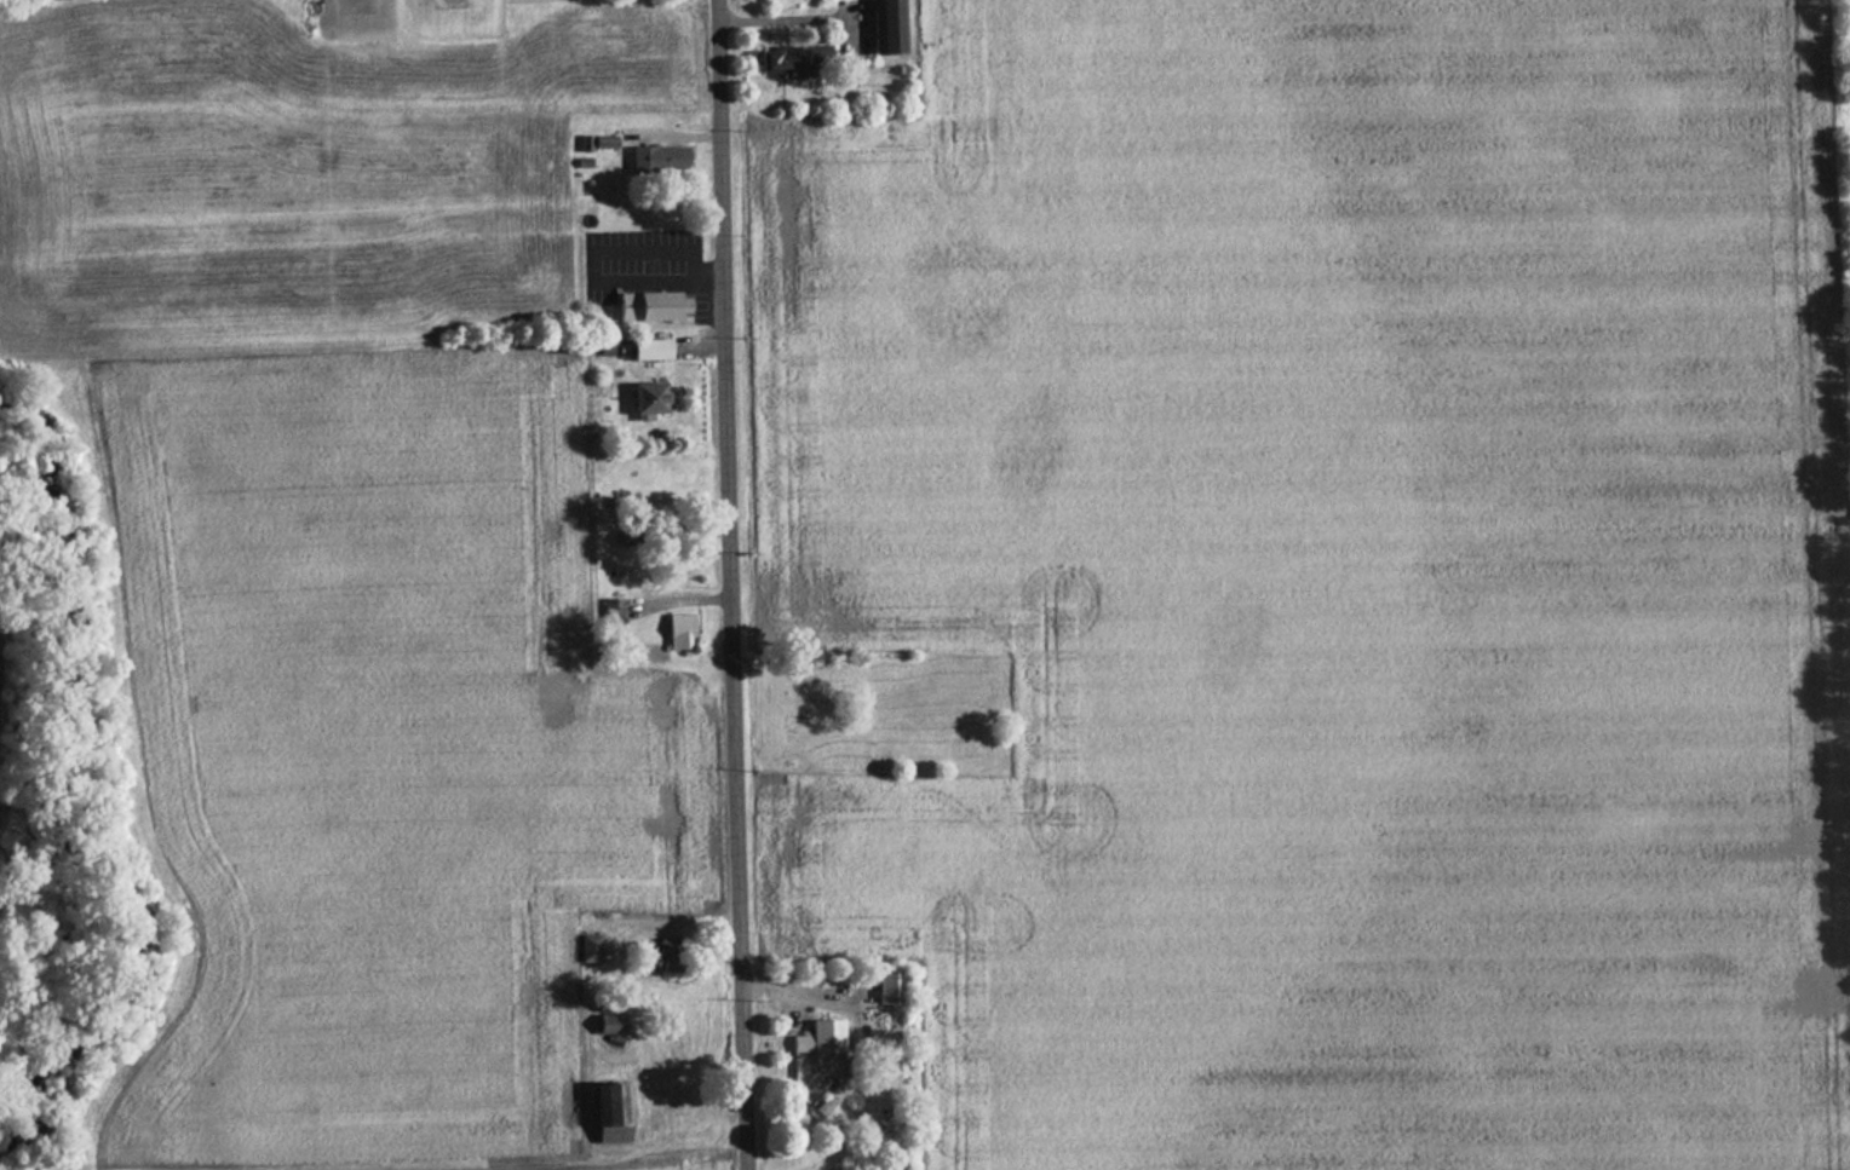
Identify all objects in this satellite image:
building: (886, 28)
building: (776, 65)
building: (654, 157)
crop: (260, 192)
building: (644, 305)
building: (647, 348)
building: (642, 398)
crop: (1333, 582)
road: (734, 584)
building: (608, 610)
building: (674, 630)
crop: (375, 744)
building: (585, 949)
building: (884, 987)
building: (605, 1028)
building: (815, 1038)
building: (825, 1100)
building: (607, 1113)
crop: (706, 1169)

